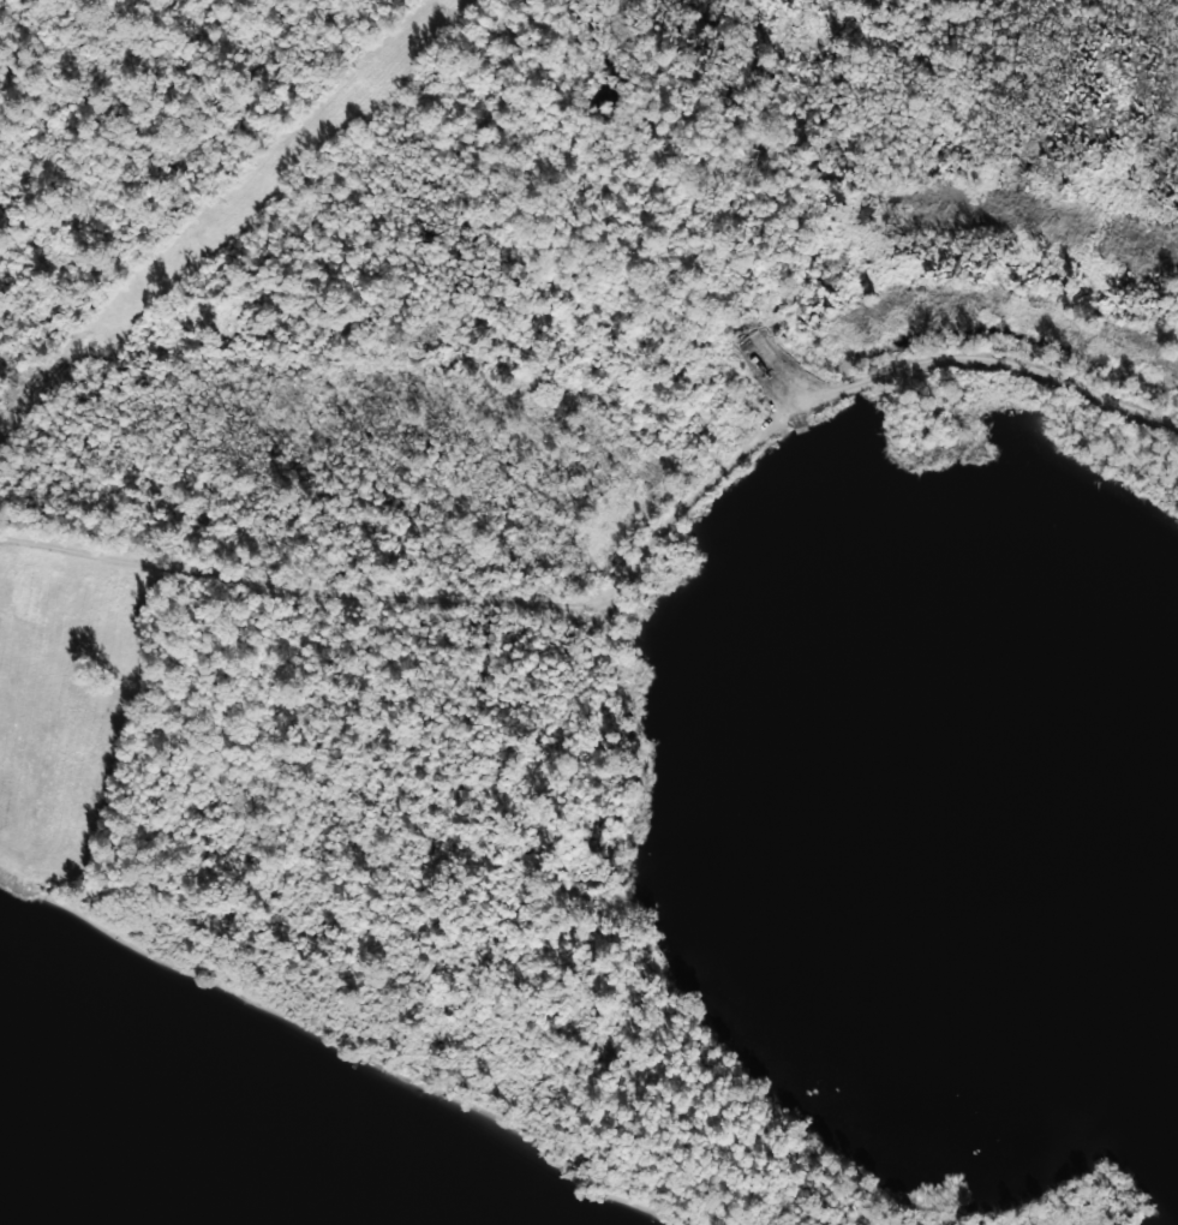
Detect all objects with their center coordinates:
road: (627, 572)
road: (543, 991)
river: (90, 1179)

